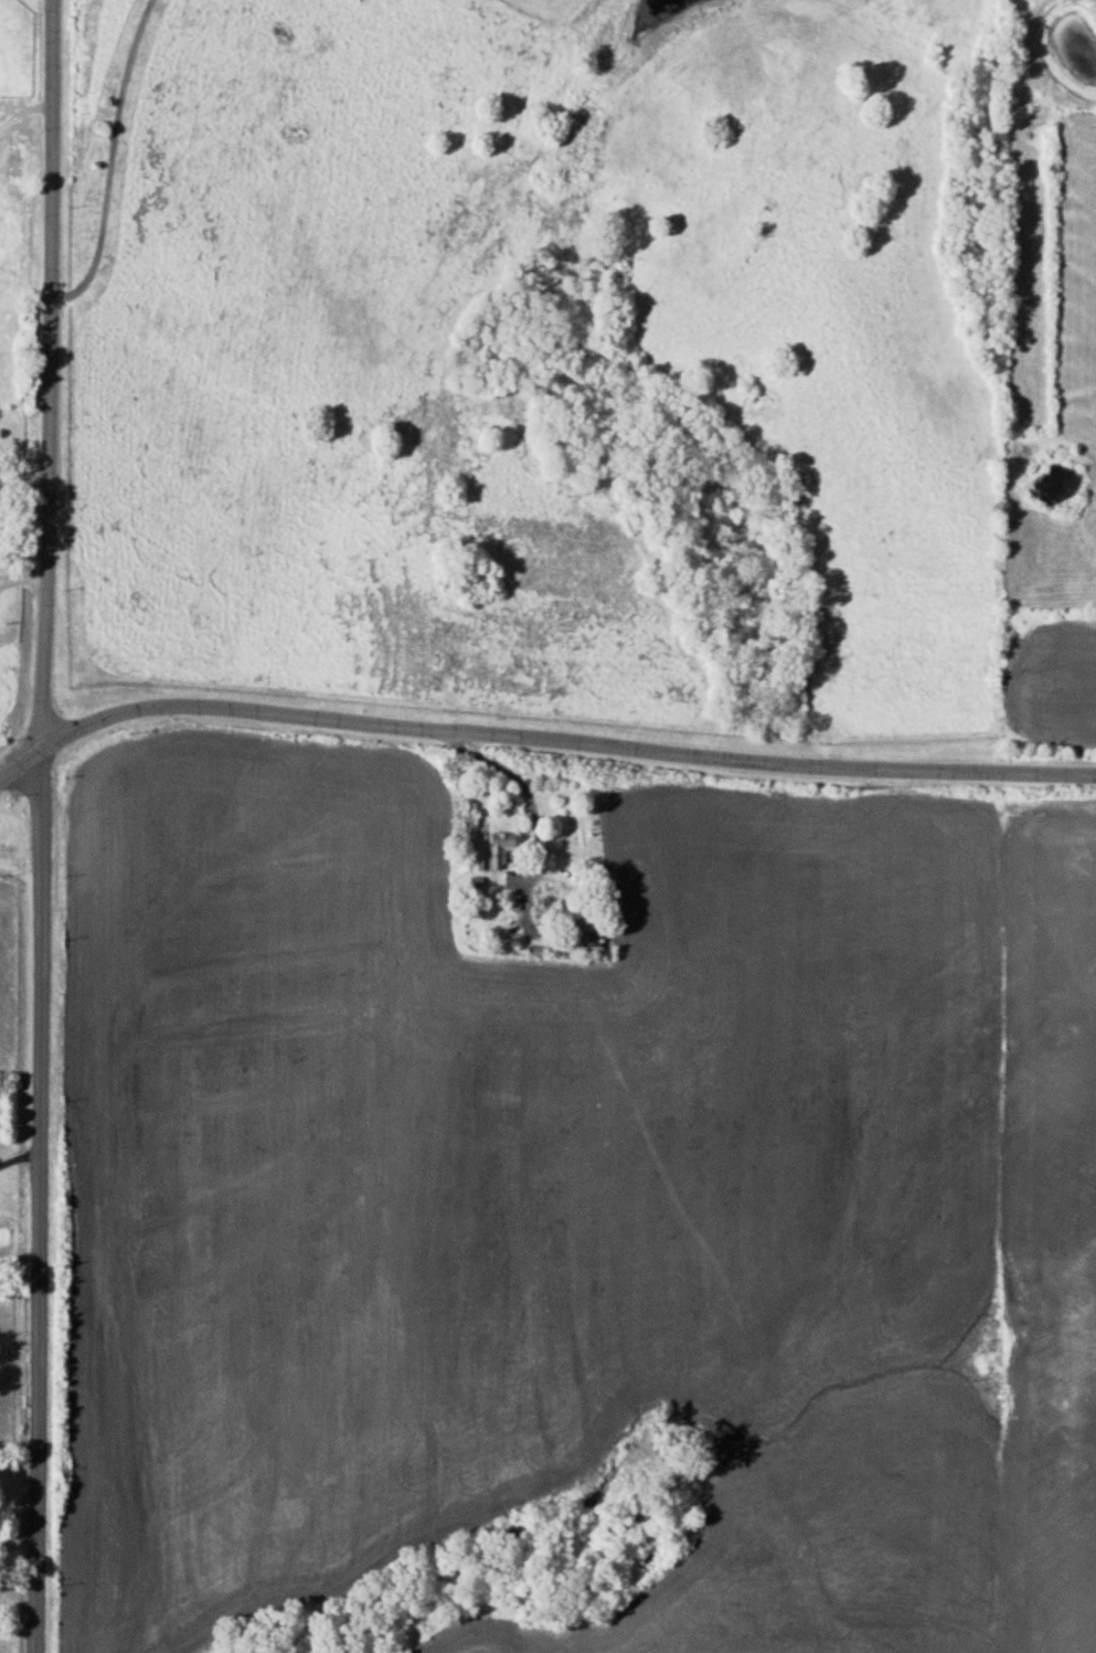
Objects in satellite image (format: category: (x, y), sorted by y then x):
road: (25, 106)
road: (109, 151)
road: (25, 479)
road: (25, 583)
road: (538, 742)
road: (524, 786)
road: (50, 825)
building: (497, 849)
building: (583, 922)
road: (23, 1154)
road: (21, 1533)

